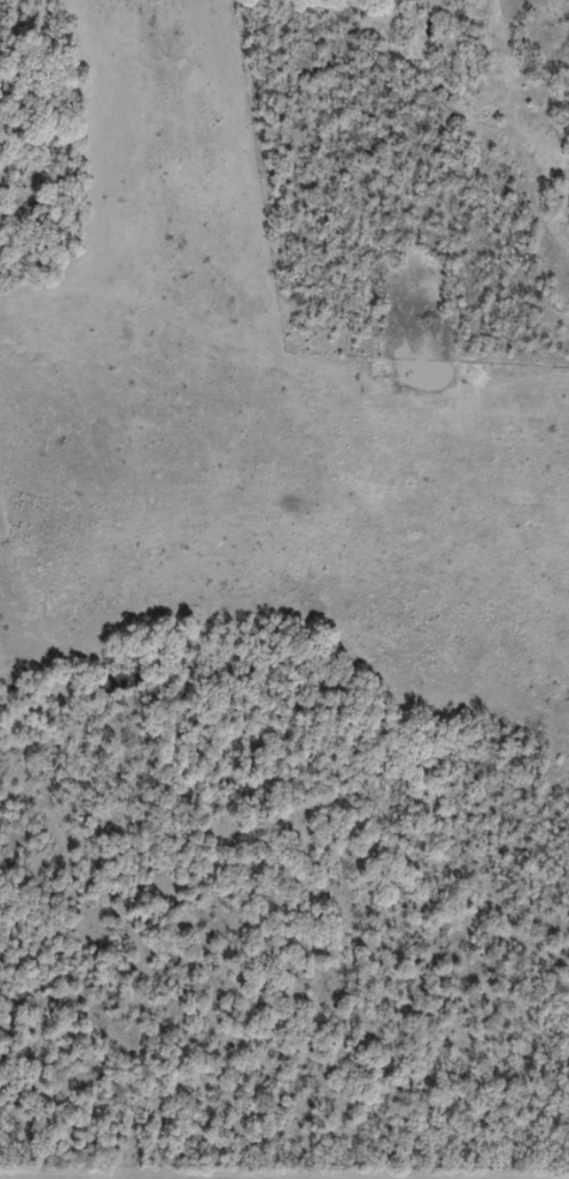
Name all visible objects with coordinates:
road: (284, 1171)

